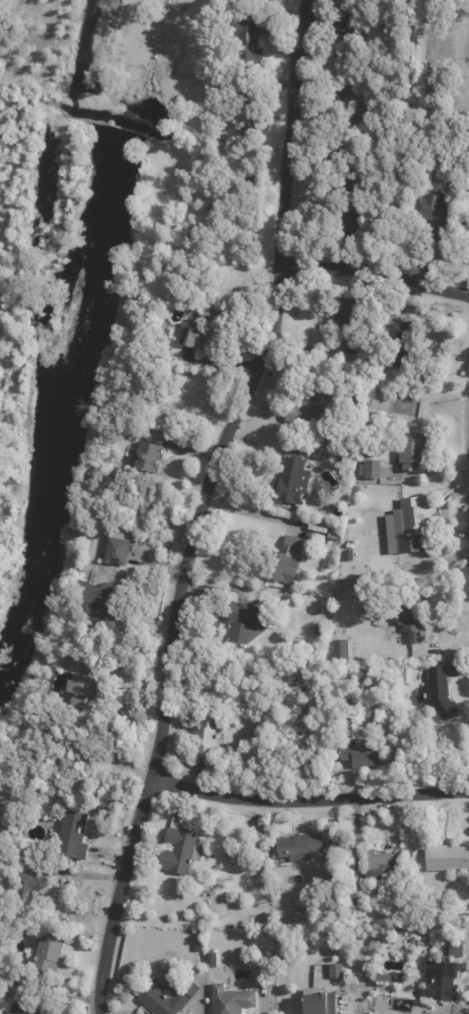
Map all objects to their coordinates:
building: (347, 24)
building: (249, 43)
building: (343, 88)
building: (253, 115)
building: (363, 122)
building: (351, 209)
building: (436, 213)
road: (374, 263)
building: (347, 323)
building: (206, 331)
building: (406, 343)
building: (311, 411)
building: (348, 437)
building: (416, 450)
building: (154, 456)
building: (372, 470)
building: (291, 483)
road: (203, 505)
building: (415, 524)
building: (336, 536)
building: (120, 548)
building: (286, 560)
building: (345, 570)
building: (102, 601)
building: (414, 615)
building: (250, 624)
building: (322, 628)
building: (299, 641)
building: (338, 648)
building: (407, 675)
building: (88, 687)
building: (440, 693)
building: (207, 736)
building: (364, 757)
road: (308, 793)
building: (74, 834)
building: (301, 847)
building: (182, 849)
building: (449, 858)
building: (387, 864)
building: (29, 889)
building: (359, 897)
building: (3, 938)
building: (202, 940)
building: (460, 945)
building: (50, 955)
building: (213, 960)
building: (337, 971)
building: (444, 981)
building: (11, 991)
building: (170, 997)
building: (233, 1000)
building: (318, 1001)
building: (26, 1009)

